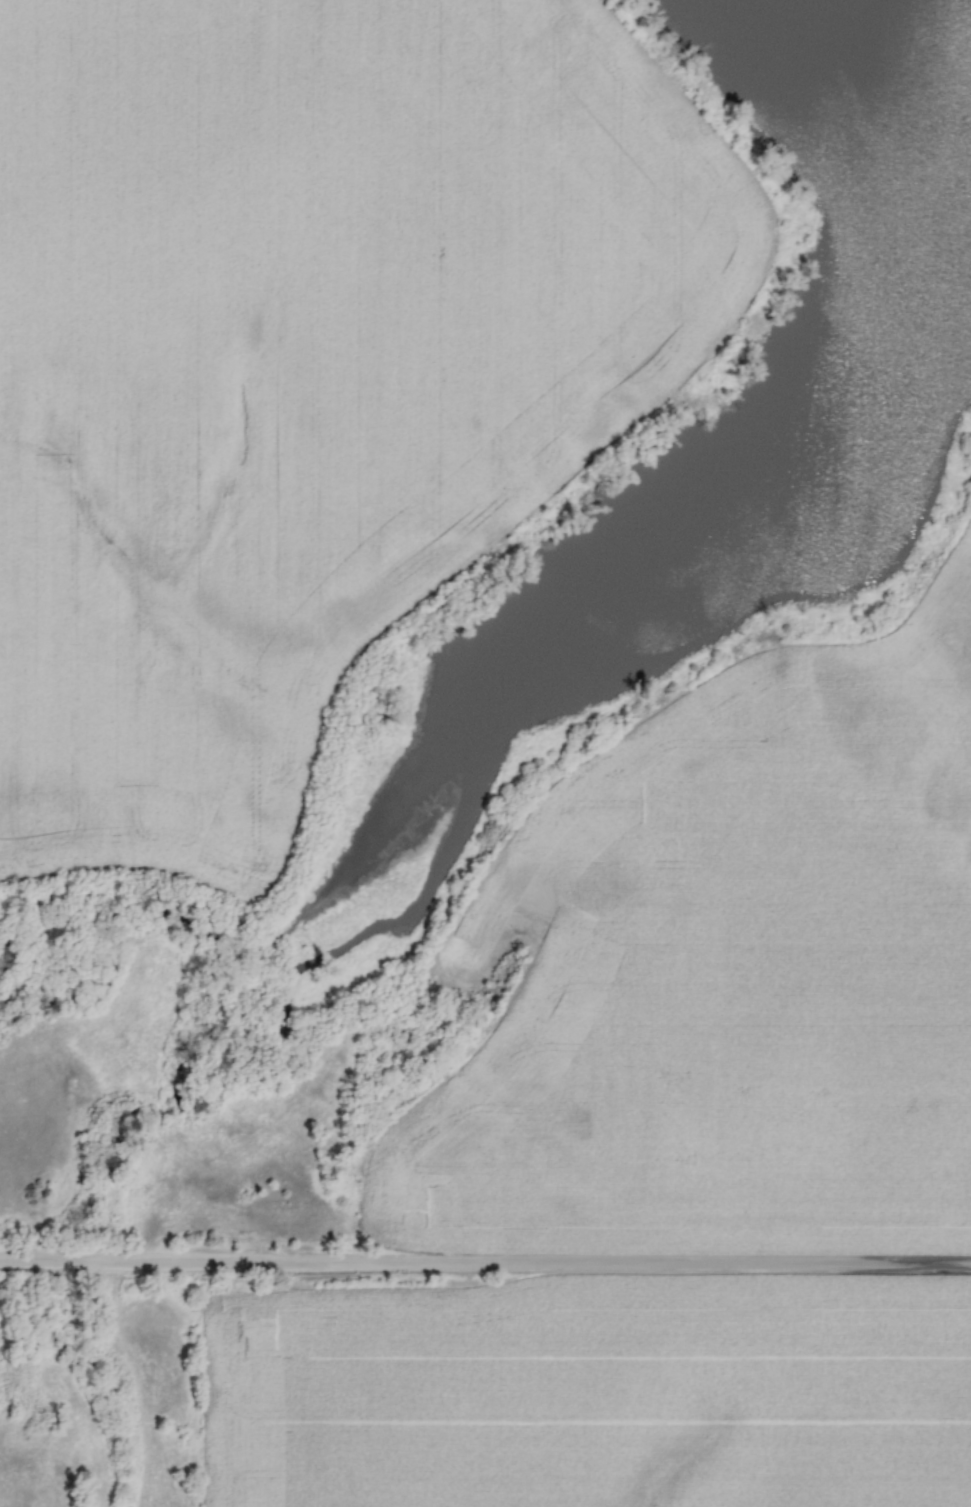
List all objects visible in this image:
road: (485, 1265)

